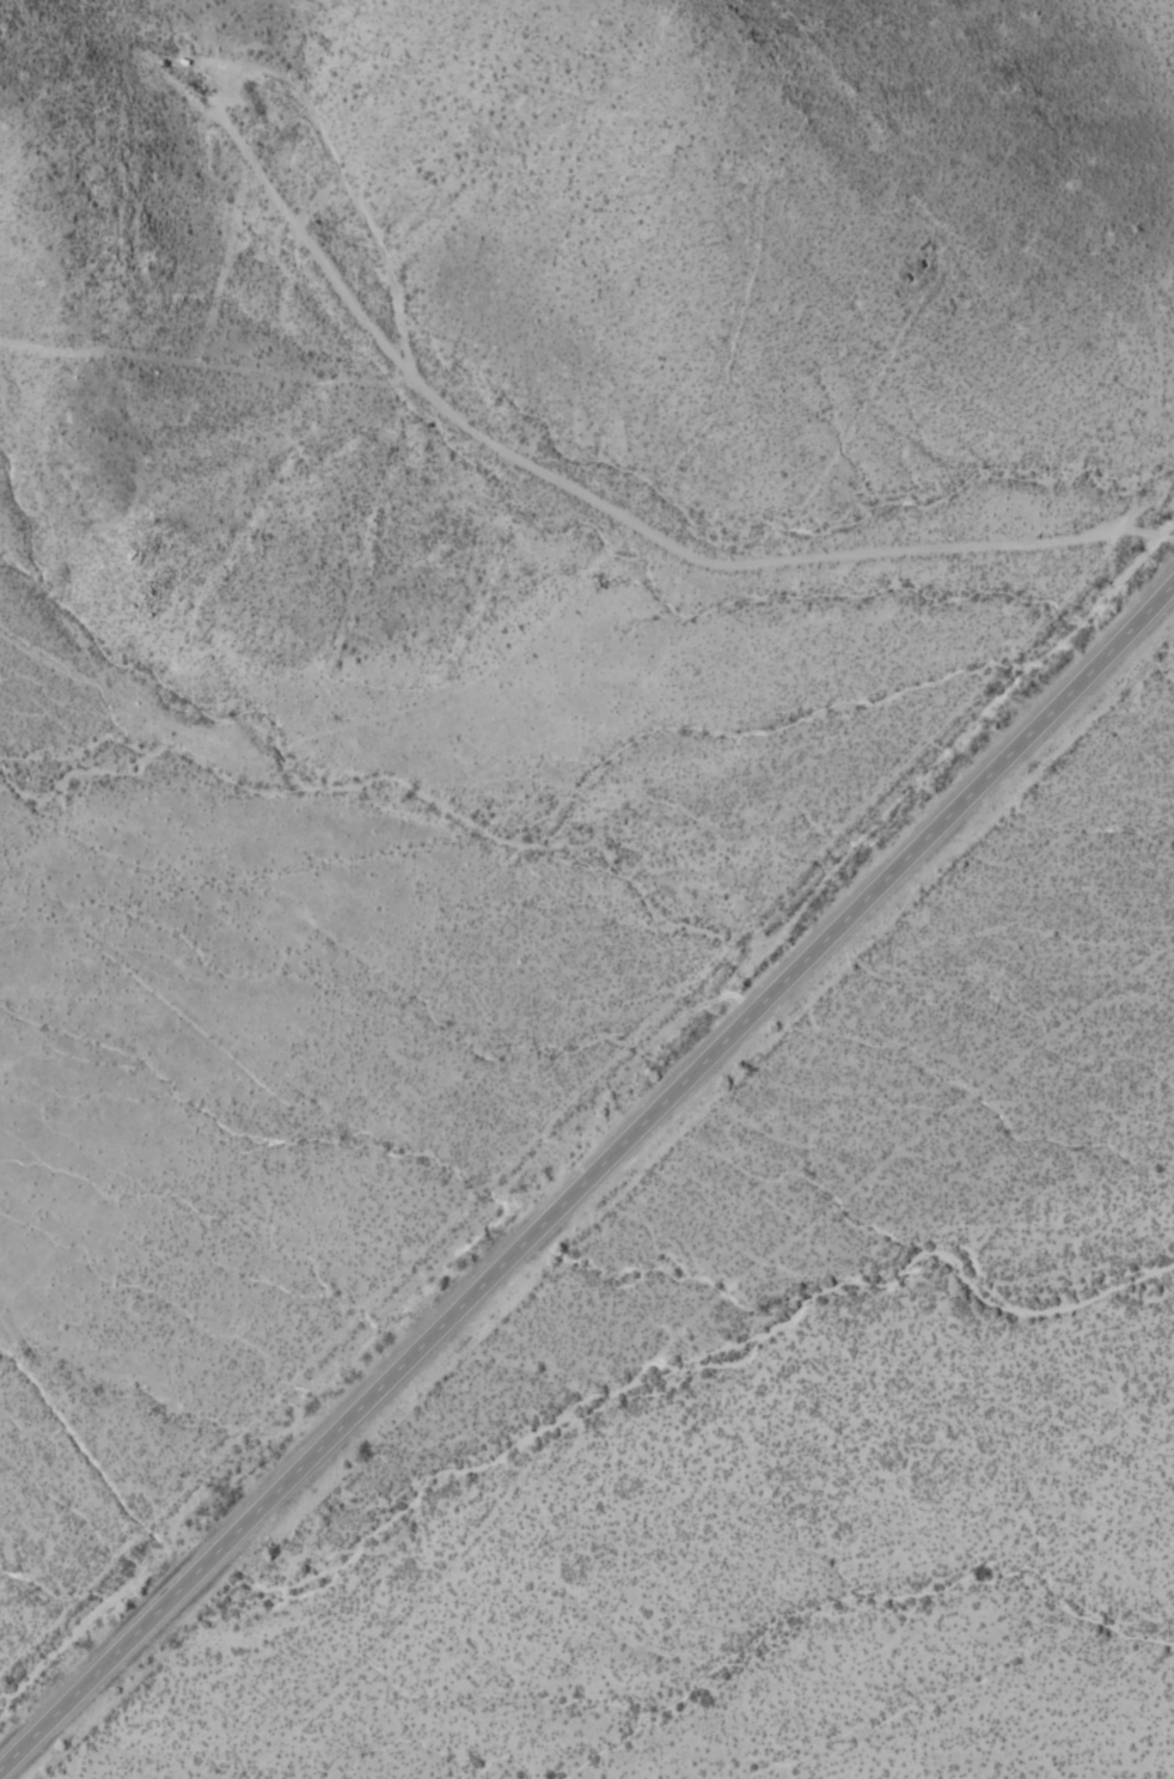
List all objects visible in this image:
road: (1149, 45)
road: (353, 196)
road: (192, 352)
road: (594, 500)
road: (1147, 501)
road: (336, 727)
road: (587, 1170)

